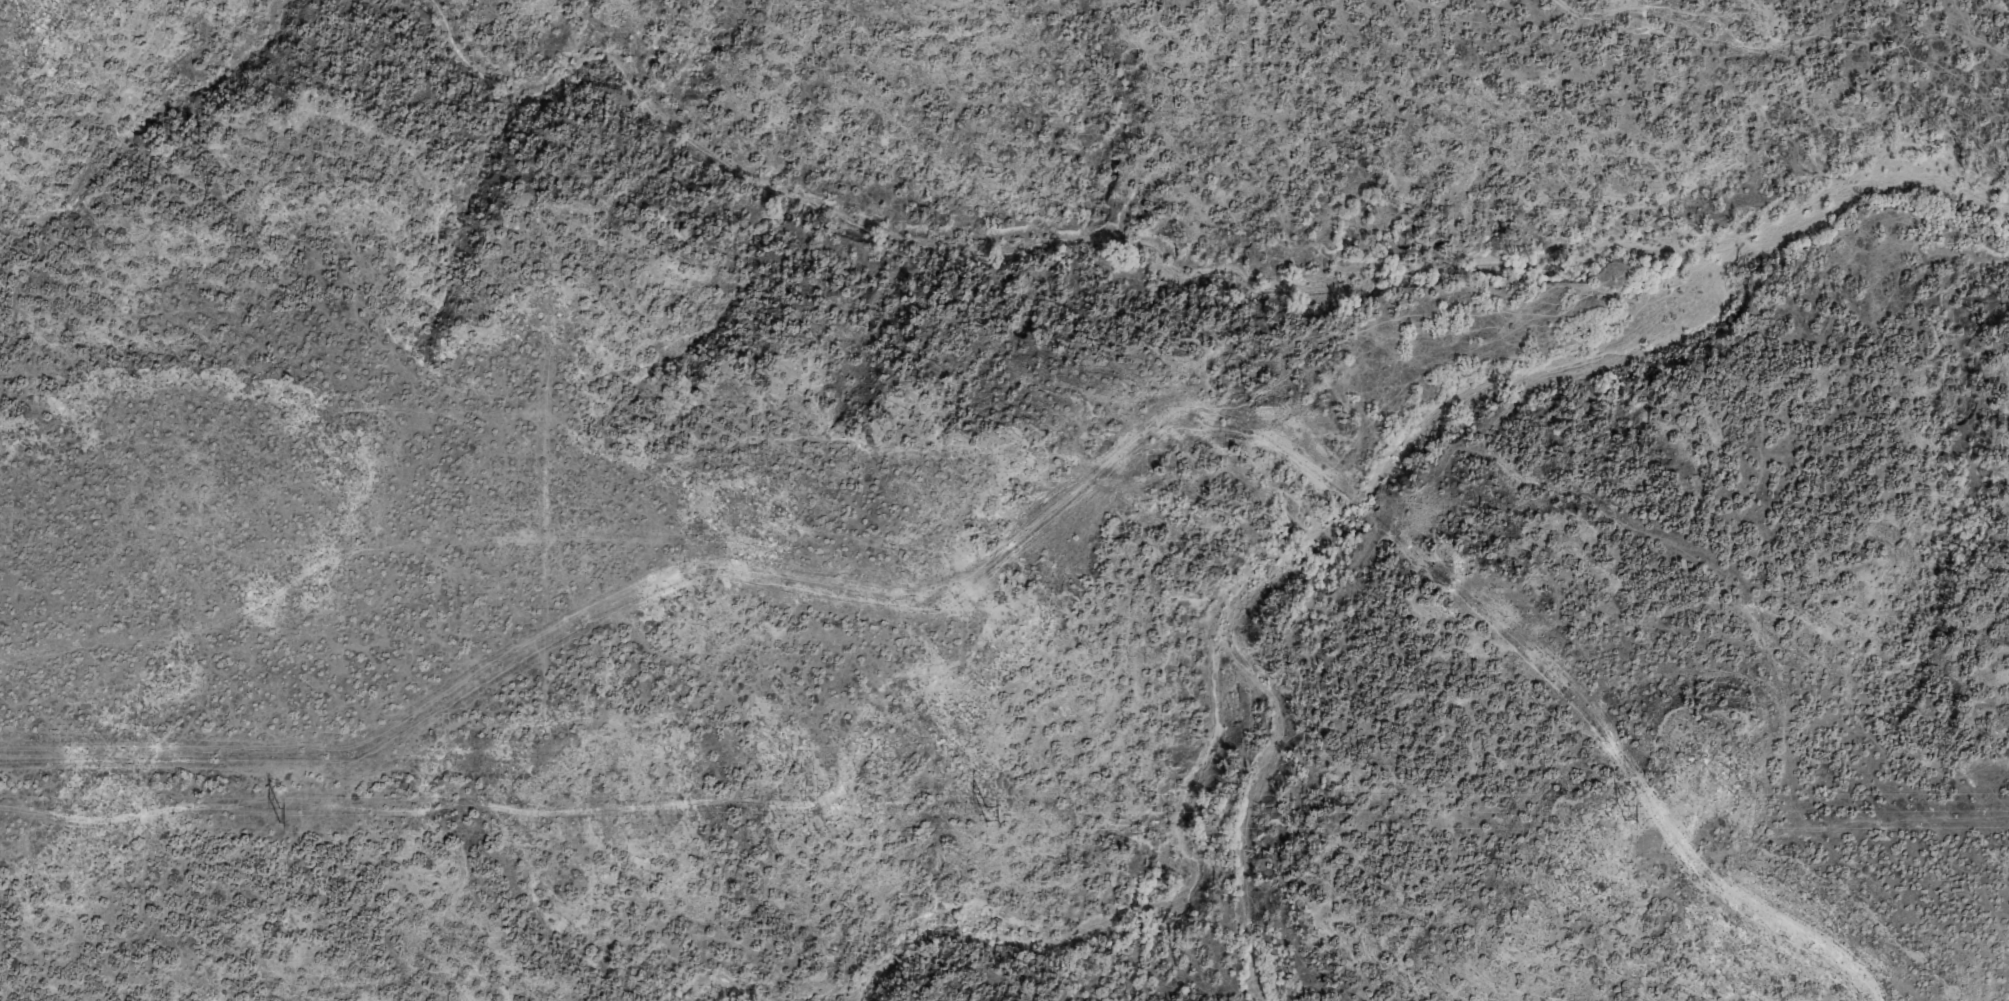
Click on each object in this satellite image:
power tower: (1620, 810)
power tower: (986, 813)
power tower: (281, 815)

